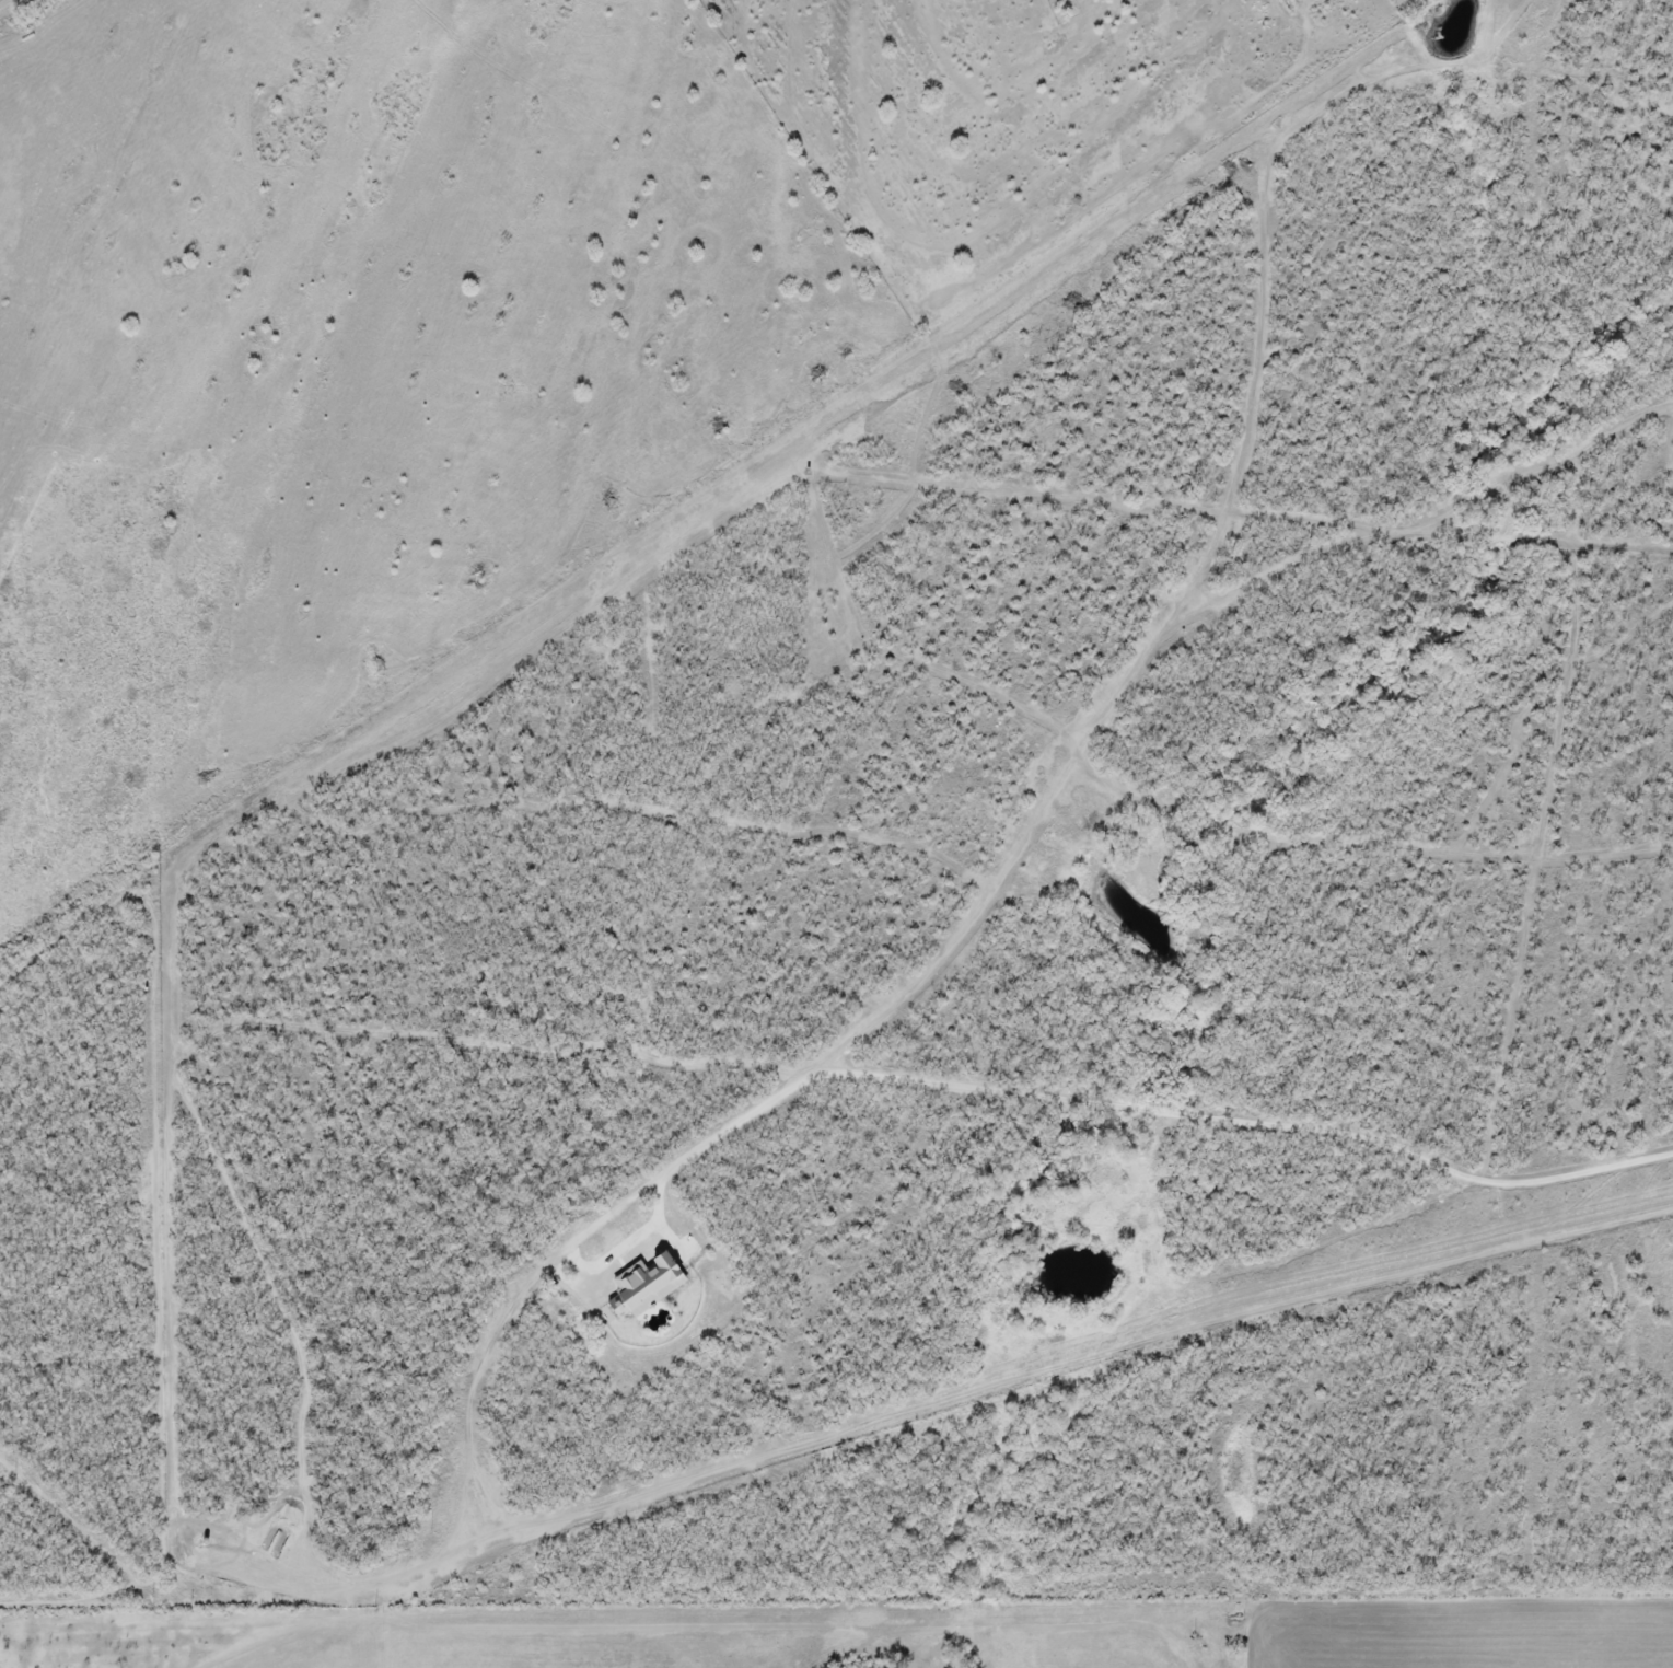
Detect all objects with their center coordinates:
road: (1155, 1114)
road: (581, 1267)

